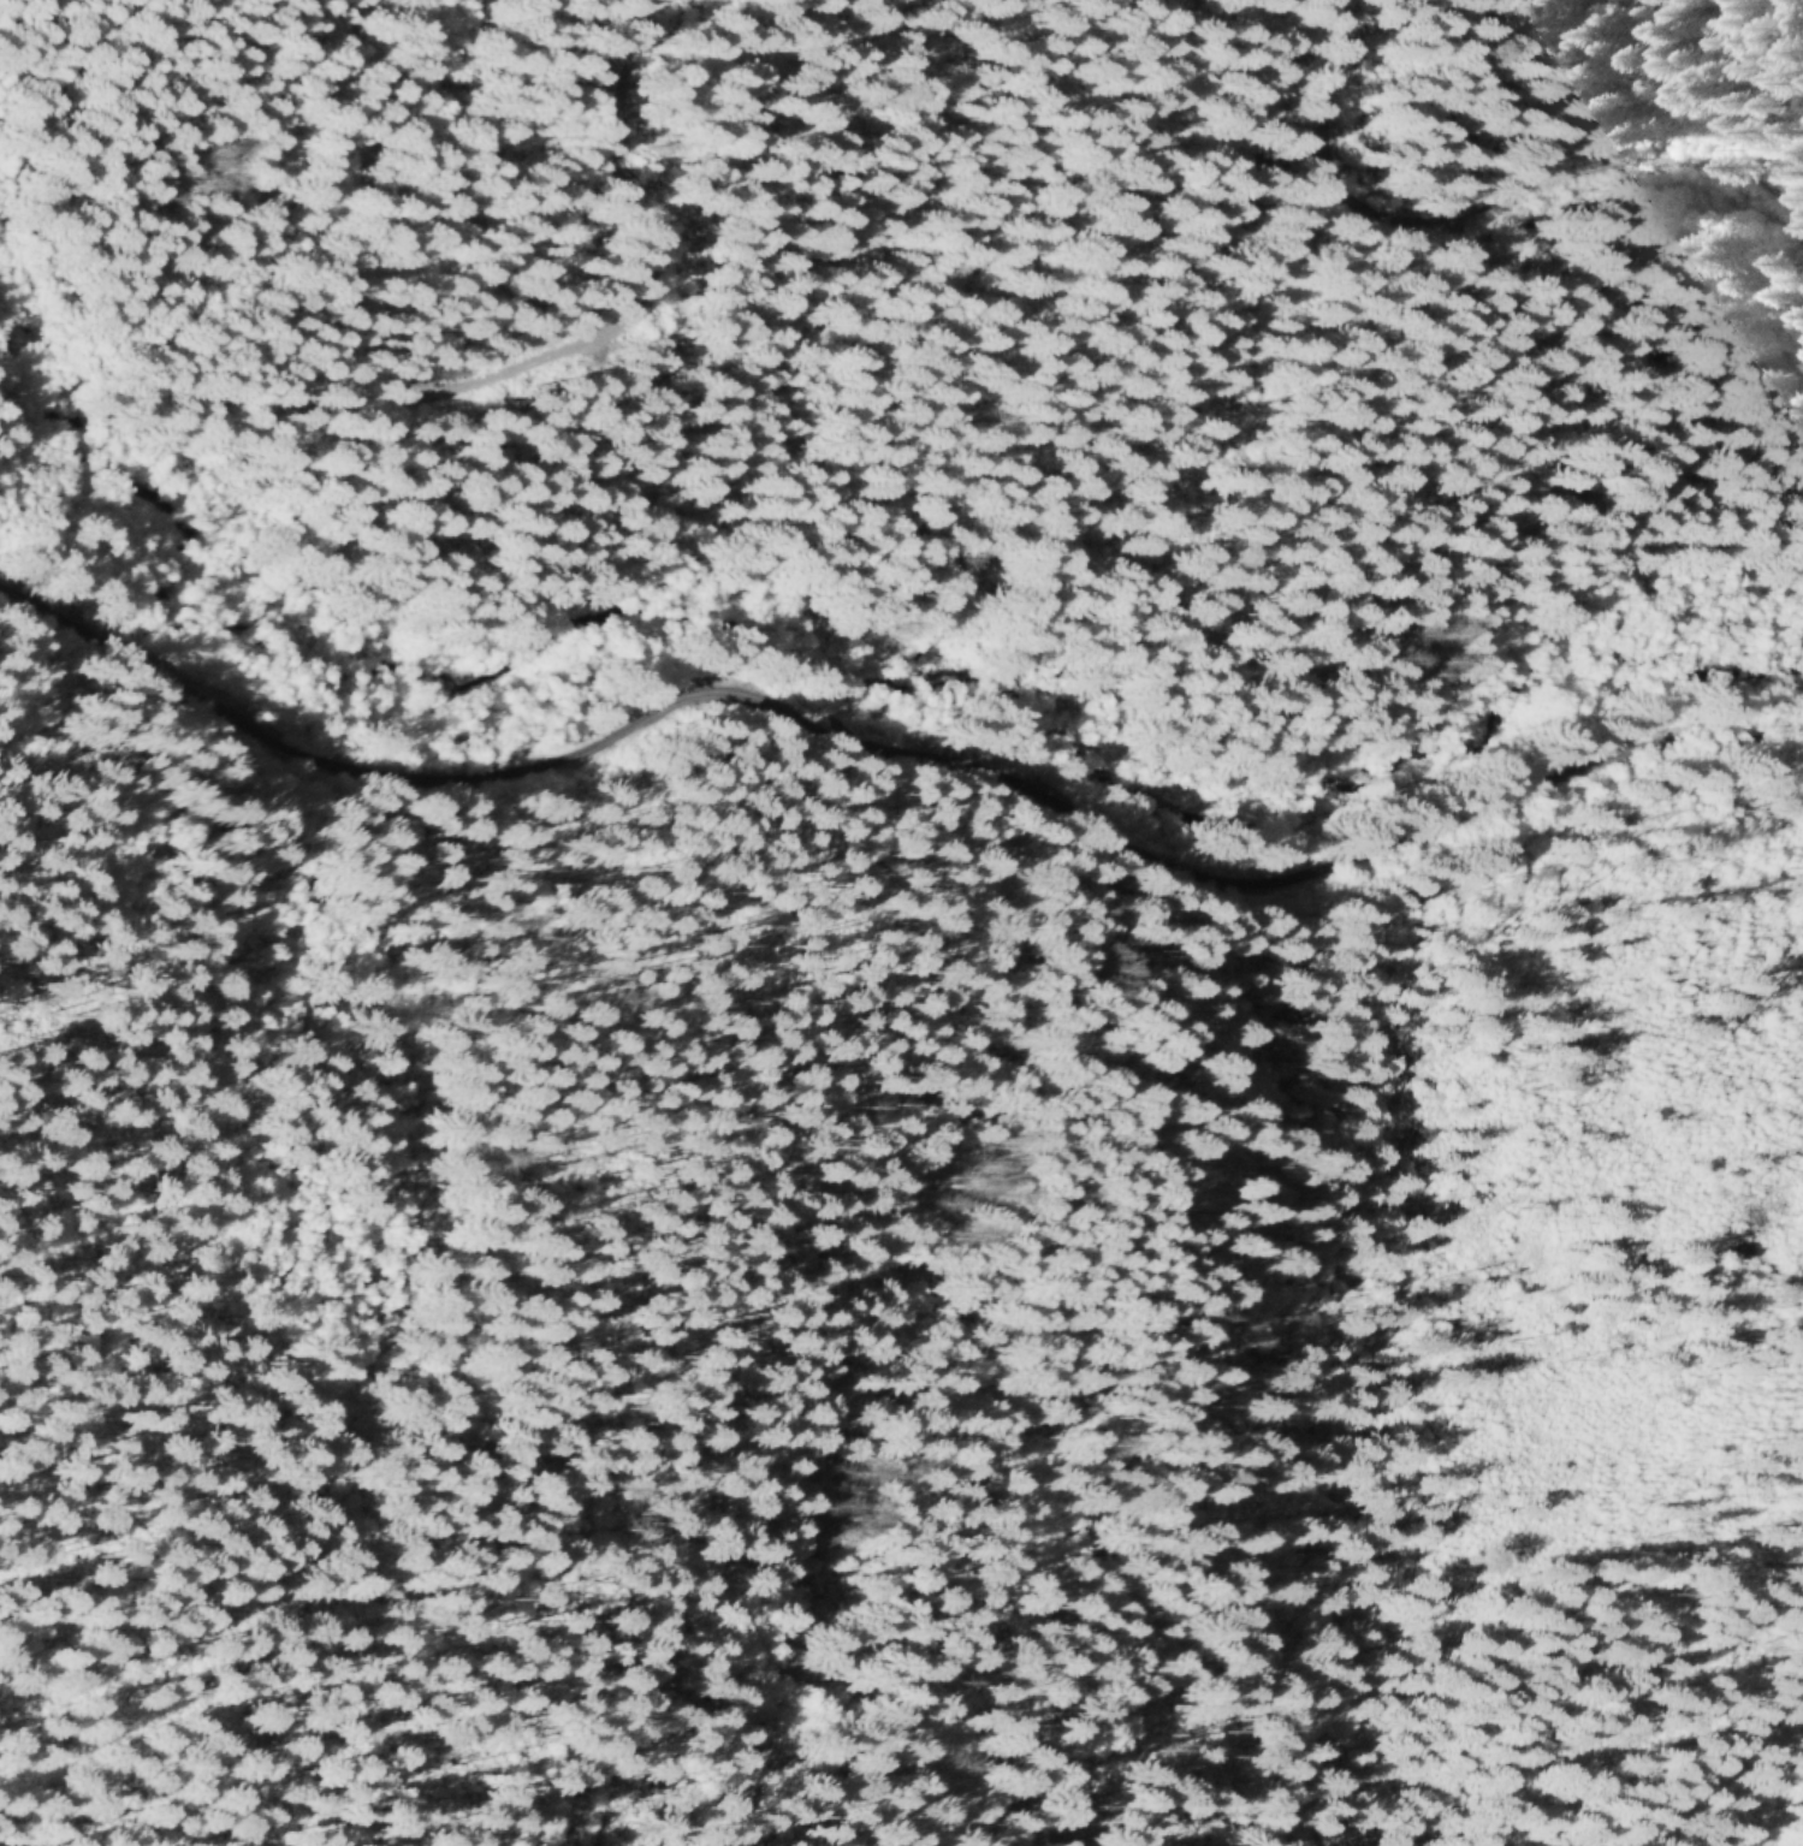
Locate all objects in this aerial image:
road: (1476, 215)
road: (646, 274)
river: (847, 596)
road: (894, 750)

